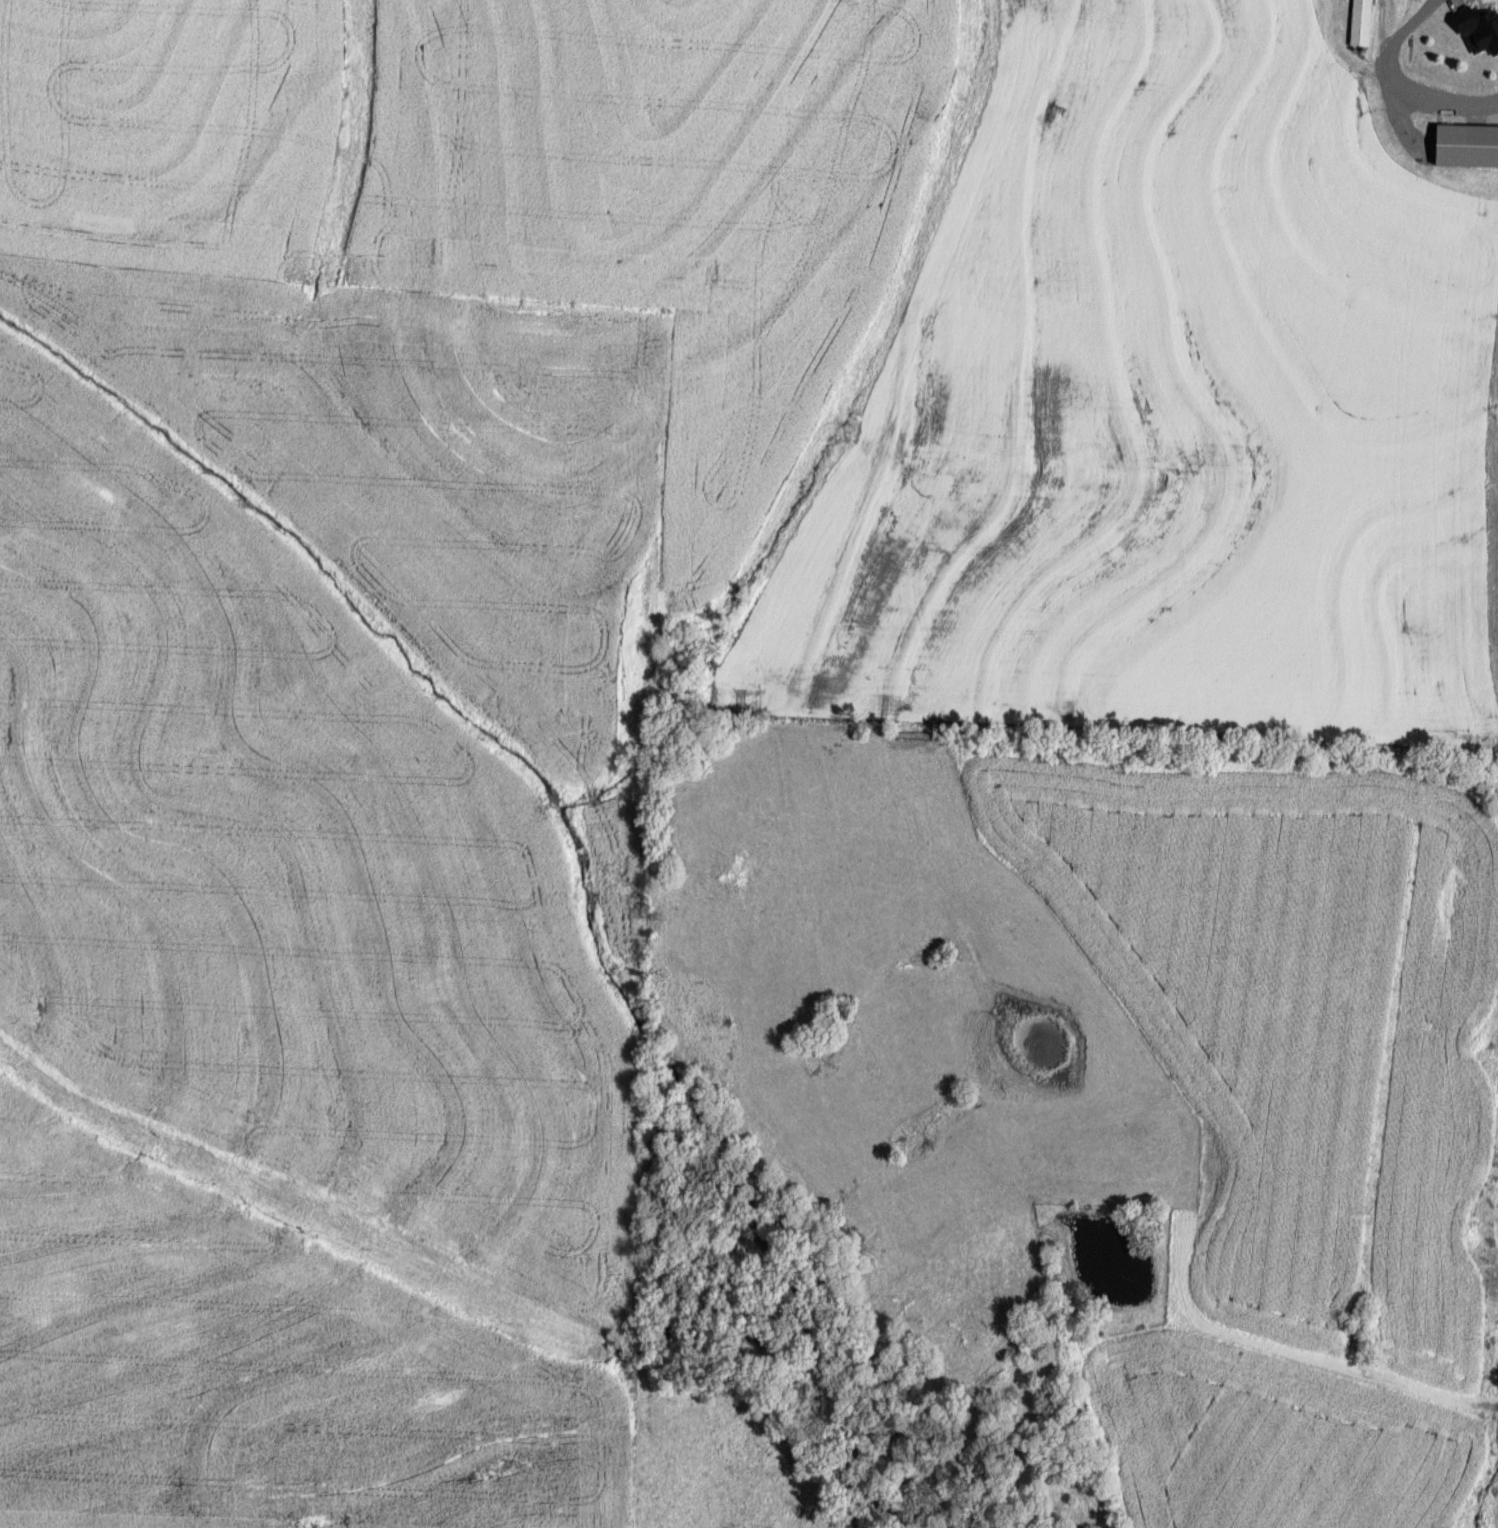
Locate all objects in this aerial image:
building: (1364, 22)
building: (1479, 24)
building: (1470, 145)
road: (1346, 1368)

